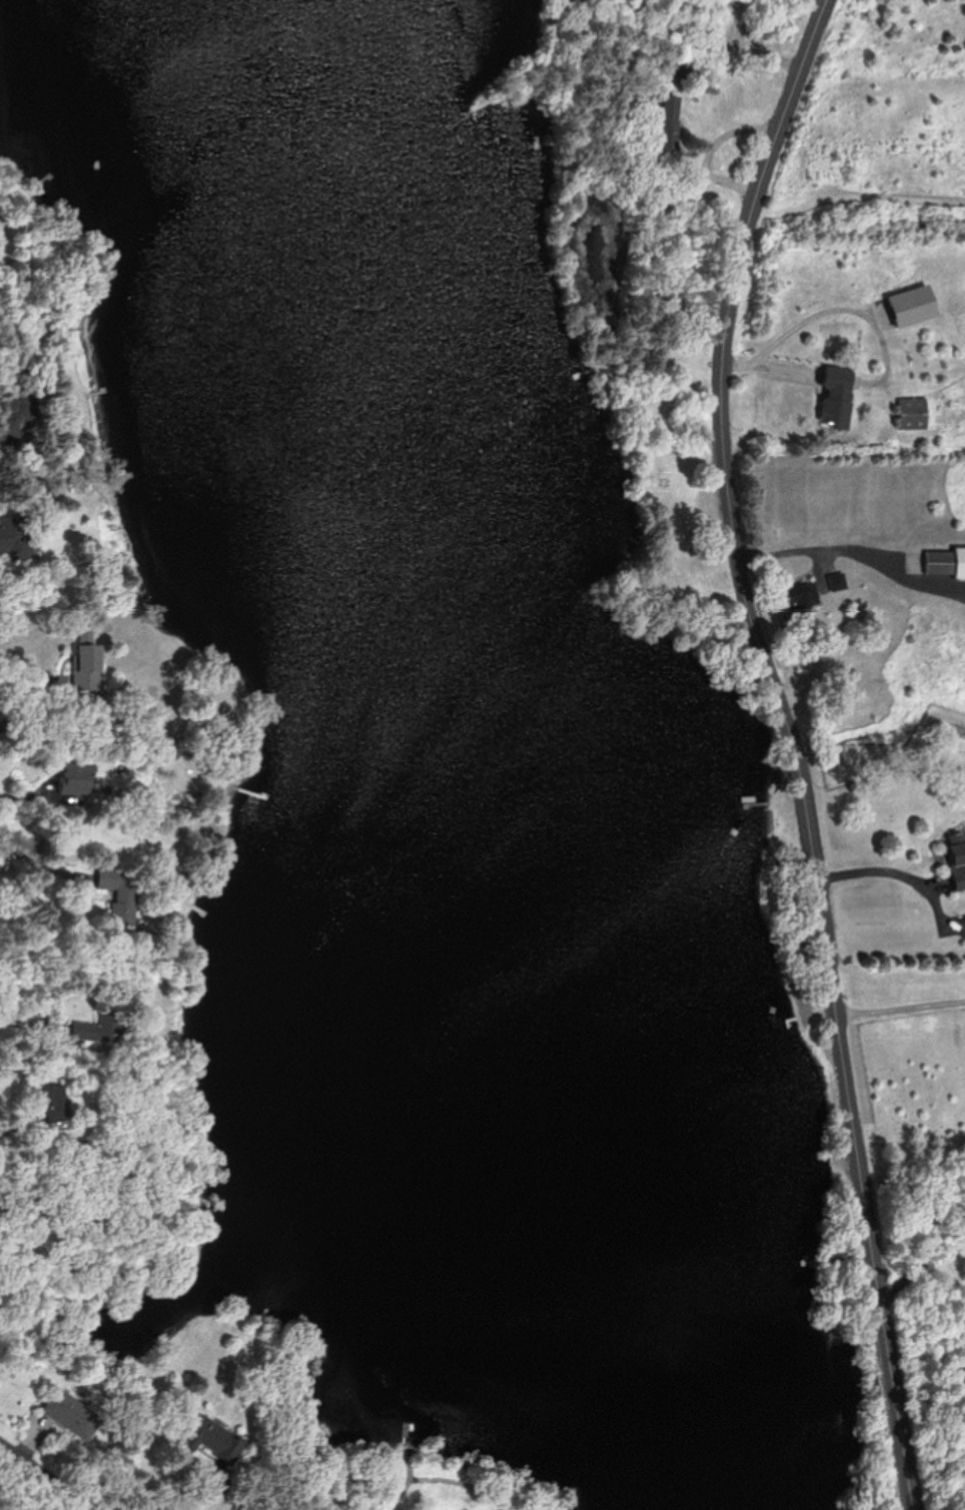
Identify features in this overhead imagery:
building: (669, 122)
building: (842, 339)
building: (839, 396)
building: (914, 412)
building: (26, 415)
building: (16, 538)
road: (847, 547)
building: (946, 562)
building: (838, 581)
building: (803, 597)
building: (88, 663)
park: (960, 702)
road: (796, 746)
building: (77, 776)
road: (28, 799)
building: (959, 859)
road: (890, 867)
building: (121, 893)
road: (903, 1011)
building: (53, 1105)
road: (928, 1248)
building: (73, 1414)
building: (216, 1439)
road: (50, 1475)

